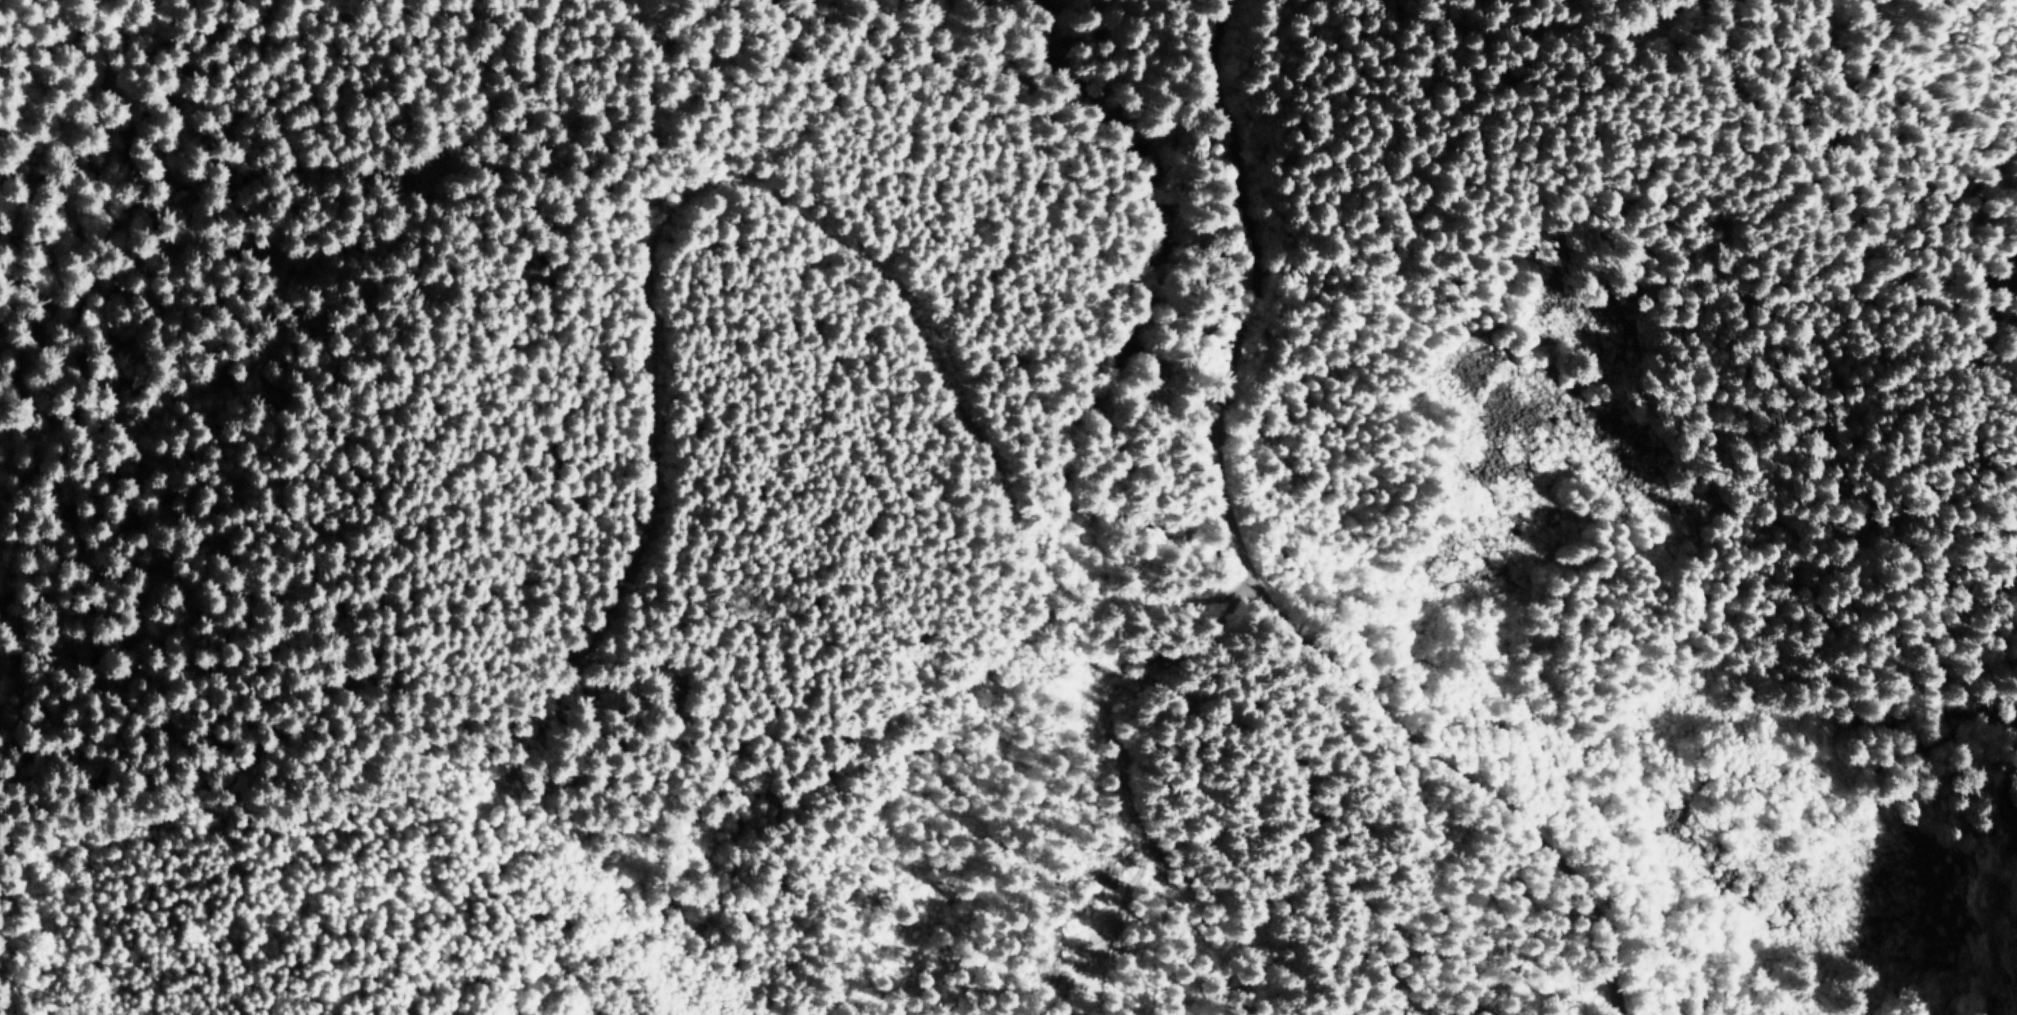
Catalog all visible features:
road: (1993, 35)
road: (1299, 578)

